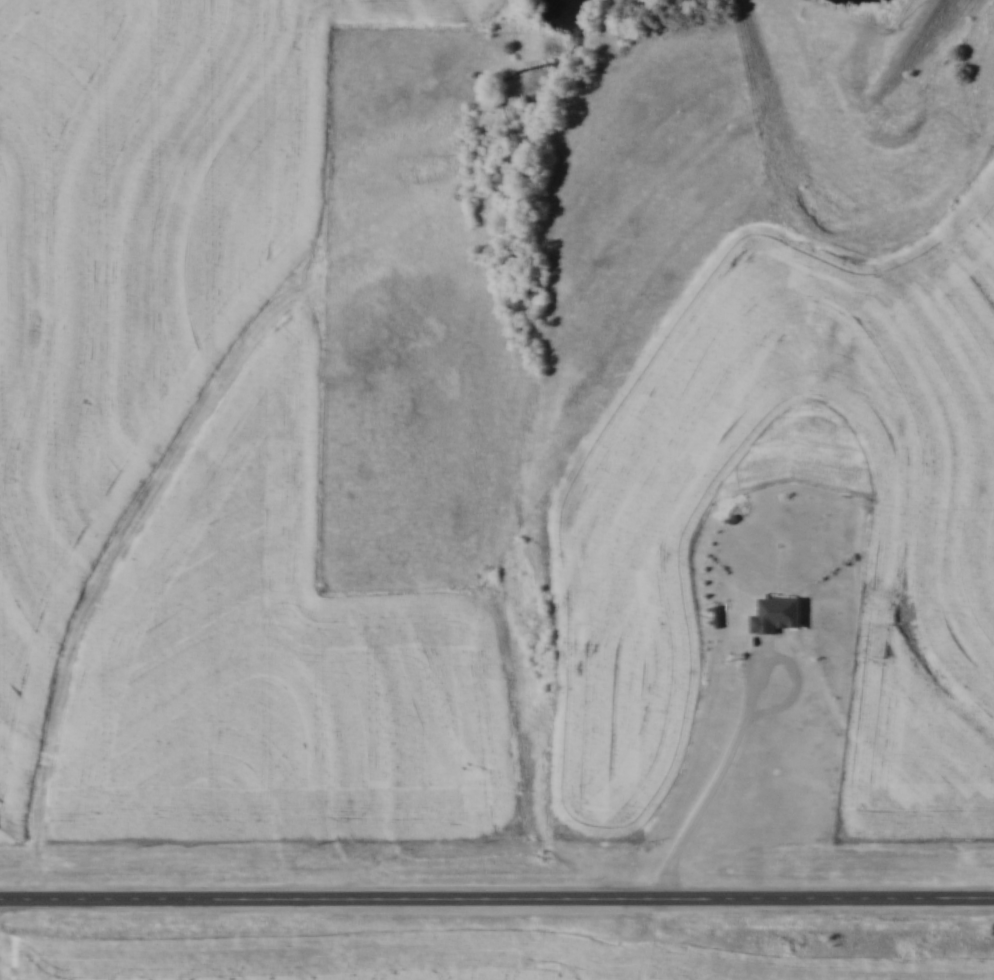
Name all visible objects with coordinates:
building: (779, 615)
road: (720, 771)
road: (497, 896)

